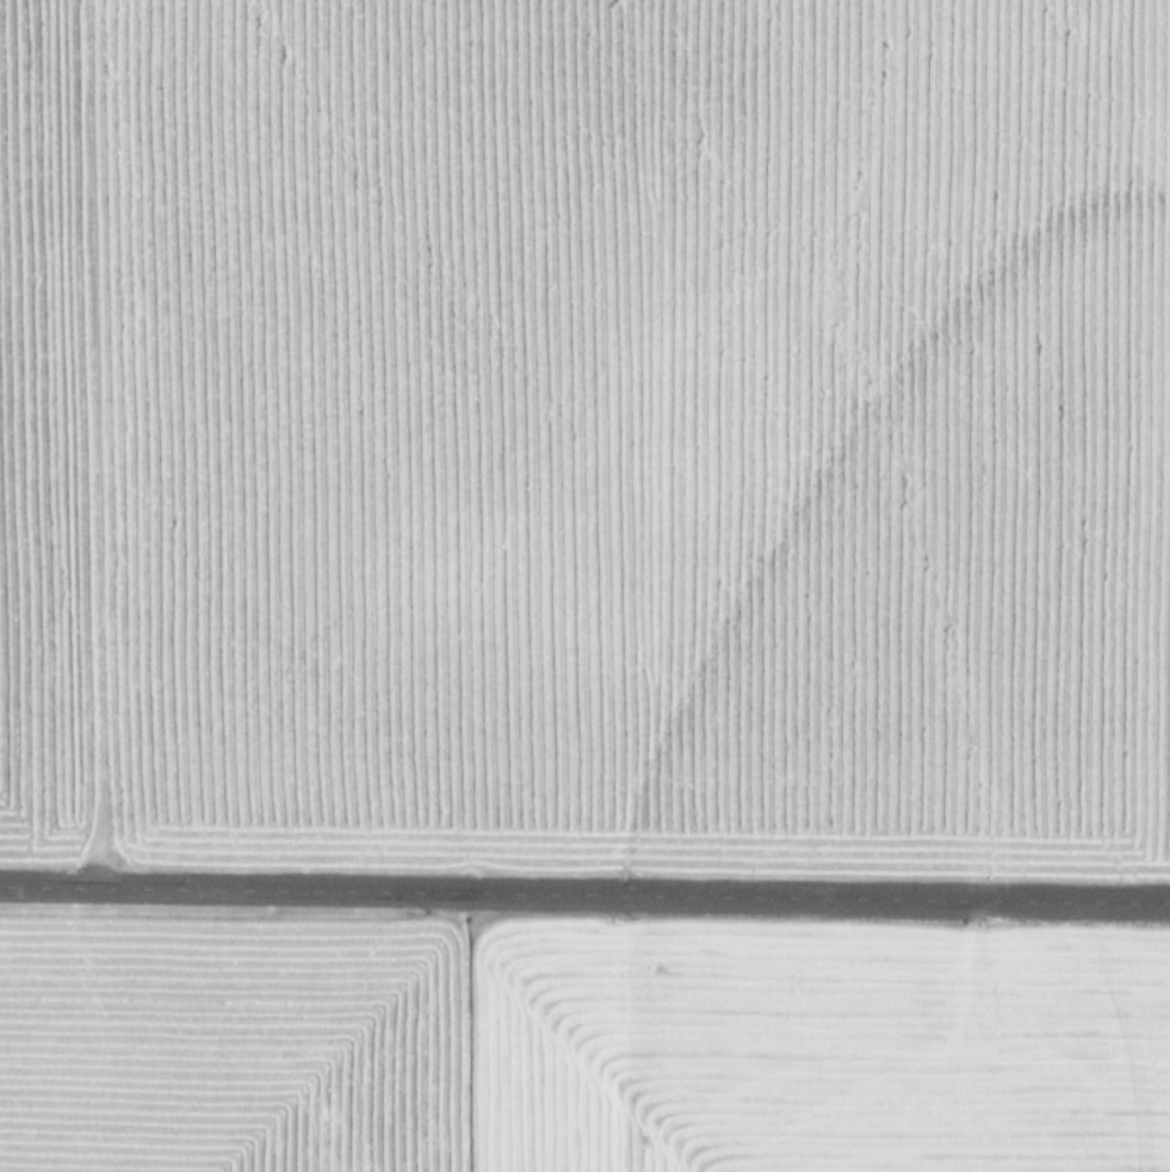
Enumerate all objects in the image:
crop: (587, 421)
road: (584, 890)
crop: (583, 1063)

